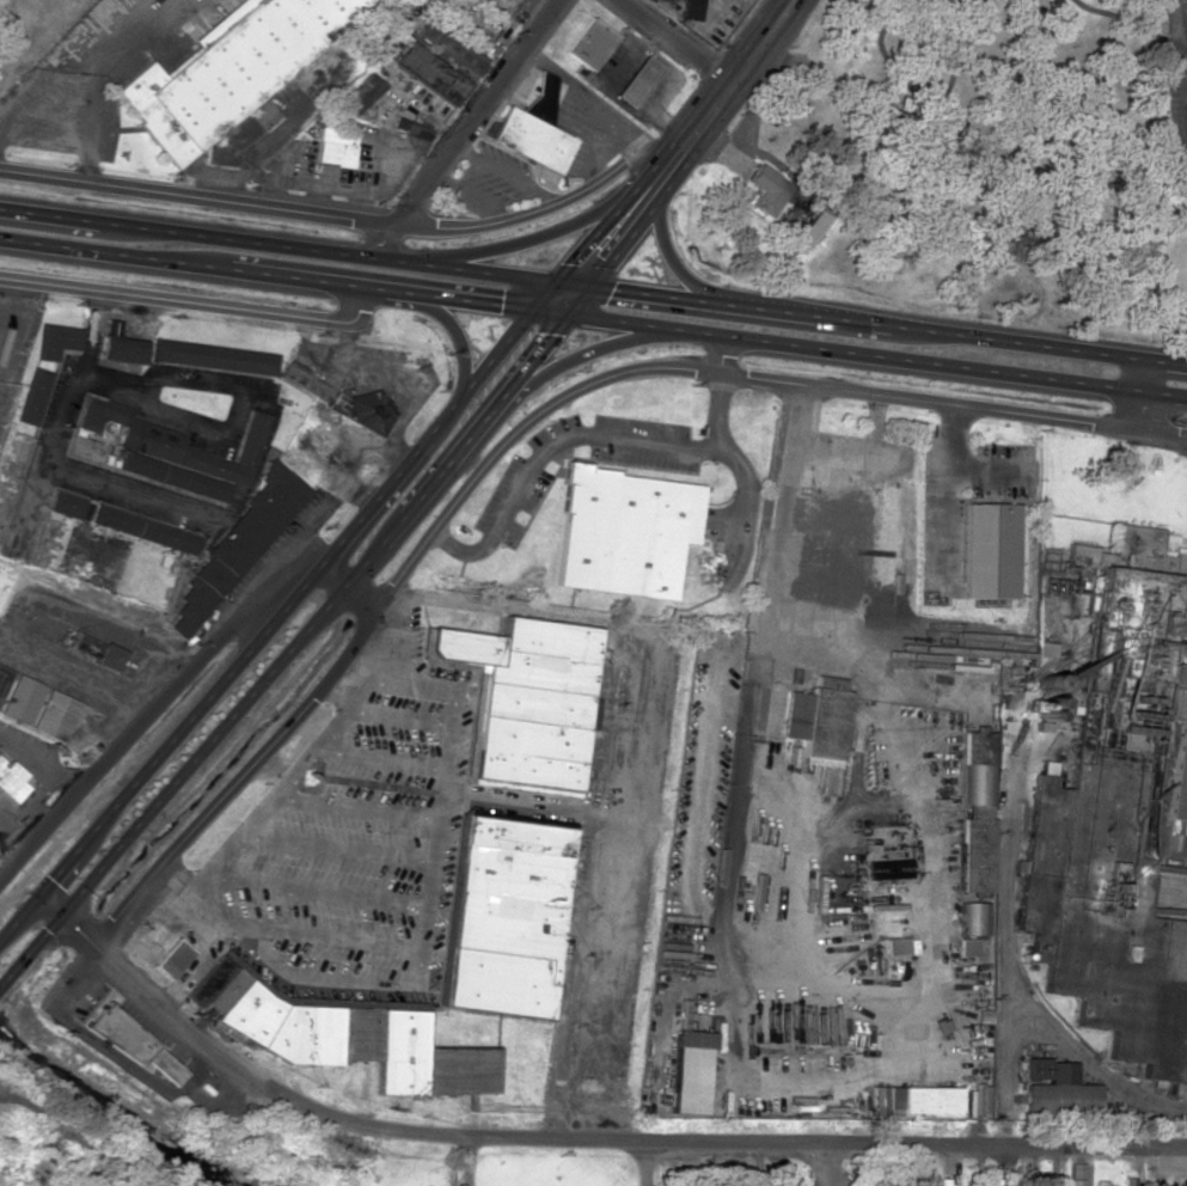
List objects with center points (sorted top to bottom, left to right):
building: (691, 10)
road: (675, 38)
building: (589, 44)
building: (447, 50)
building: (430, 73)
building: (230, 77)
road: (732, 79)
building: (636, 81)
road: (1186, 87)
building: (356, 92)
road: (466, 128)
road: (1186, 128)
building: (531, 140)
building: (334, 147)
park: (1016, 160)
building: (765, 190)
road: (197, 198)
building: (810, 228)
road: (536, 239)
traffic signals: (592, 267)
road: (678, 267)
road: (593, 291)
traffic signals: (610, 293)
road: (567, 296)
road: (191, 304)
traffic signals: (500, 305)
road: (593, 317)
building: (110, 326)
traffic signals: (538, 332)
building: (54, 341)
road: (459, 344)
building: (121, 349)
building: (212, 356)
road: (559, 367)
building: (314, 390)
building: (32, 396)
road: (1134, 396)
building: (368, 410)
building: (173, 441)
road: (551, 444)
road: (500, 453)
road: (733, 459)
building: (173, 476)
building: (65, 505)
building: (143, 530)
building: (623, 532)
building: (234, 546)
building: (989, 551)
building: (92, 650)
road: (73, 679)
road: (173, 683)
building: (20, 699)
road: (228, 699)
building: (525, 701)
building: (593, 710)
building: (55, 715)
building: (816, 725)
road: (742, 765)
building: (10, 781)
building: (1116, 803)
building: (975, 811)
building: (888, 869)
building: (504, 917)
building: (974, 918)
building: (900, 947)
building: (967, 947)
building: (170, 959)
road: (1004, 998)
building: (339, 1037)
building: (130, 1043)
road: (1090, 1068)
building: (687, 1071)
building: (1058, 1089)
building: (914, 1101)
river: (114, 1109)
road: (580, 1142)
road: (824, 1164)
building: (1077, 1174)
building: (946, 1181)
building: (1106, 1184)

